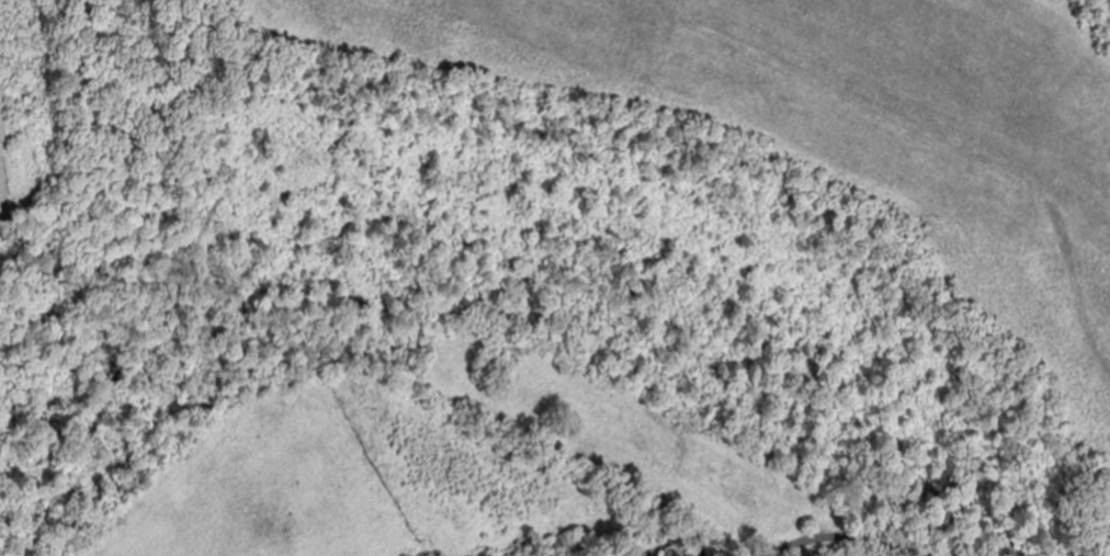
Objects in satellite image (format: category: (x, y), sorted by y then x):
road: (951, 138)
road: (849, 538)

